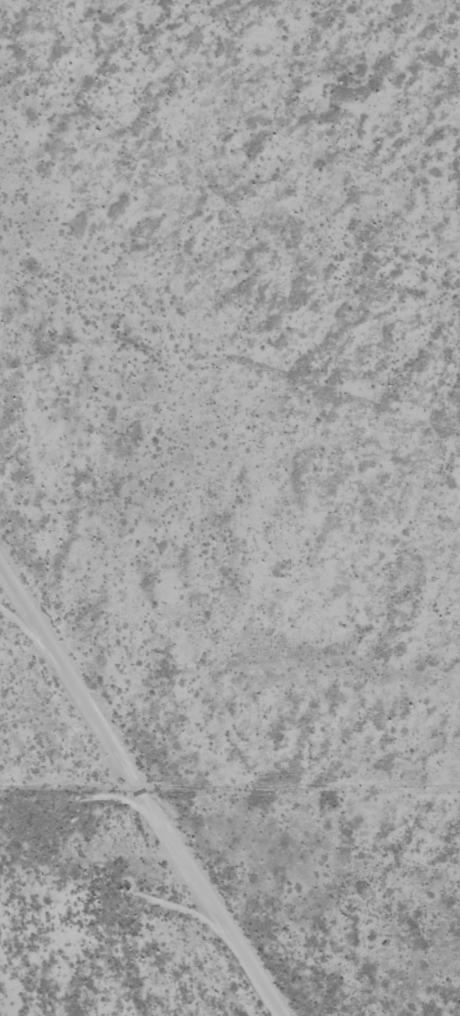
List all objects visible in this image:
road: (133, 804)

